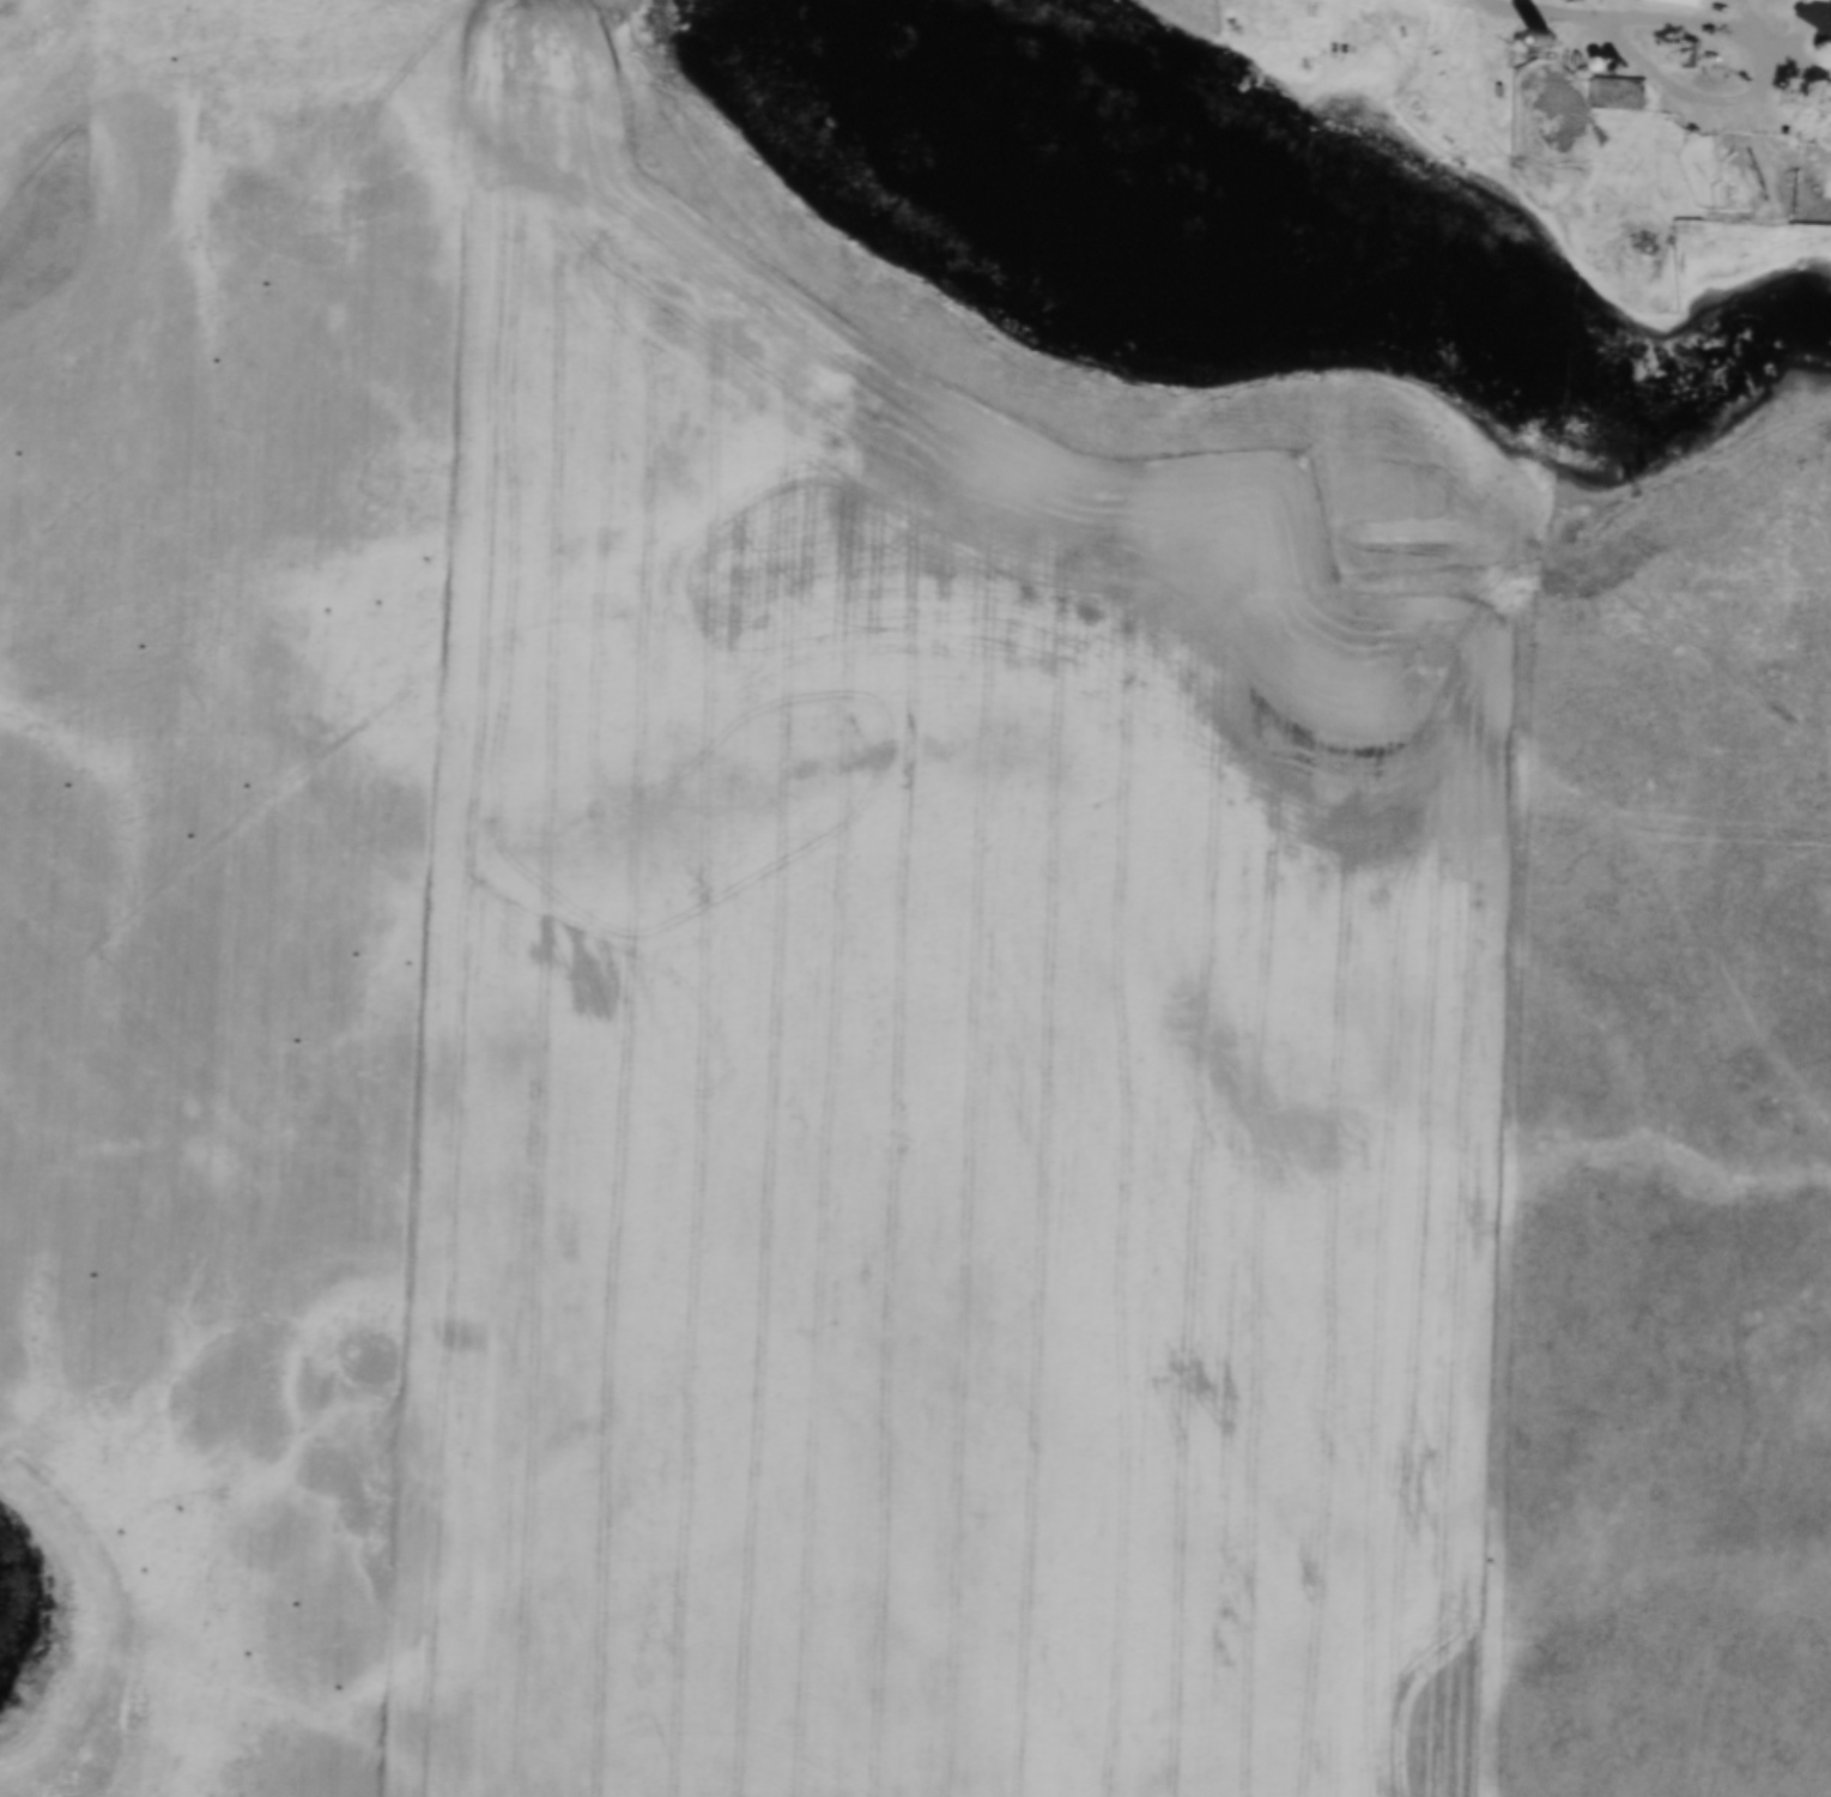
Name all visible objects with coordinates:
building: (1668, 1)
road: (1529, 14)
building: (1812, 14)
road: (1705, 30)
road: (38, 59)
road: (1691, 98)
road: (1168, 454)

